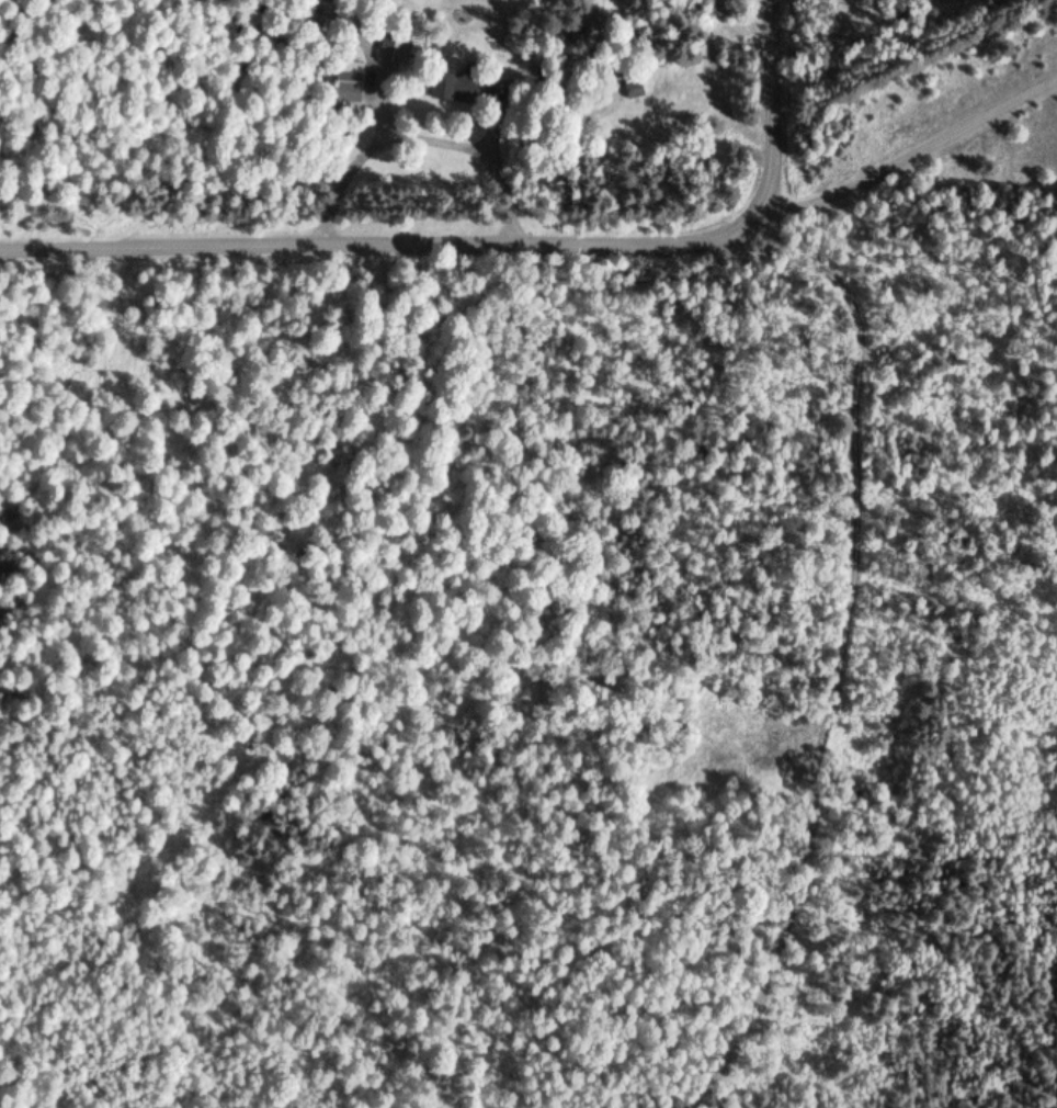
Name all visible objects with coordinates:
building: (394, 46)
road: (370, 50)
building: (350, 82)
building: (445, 89)
building: (635, 91)
road: (774, 108)
road: (422, 137)
road: (910, 156)
road: (383, 244)
road: (856, 437)

